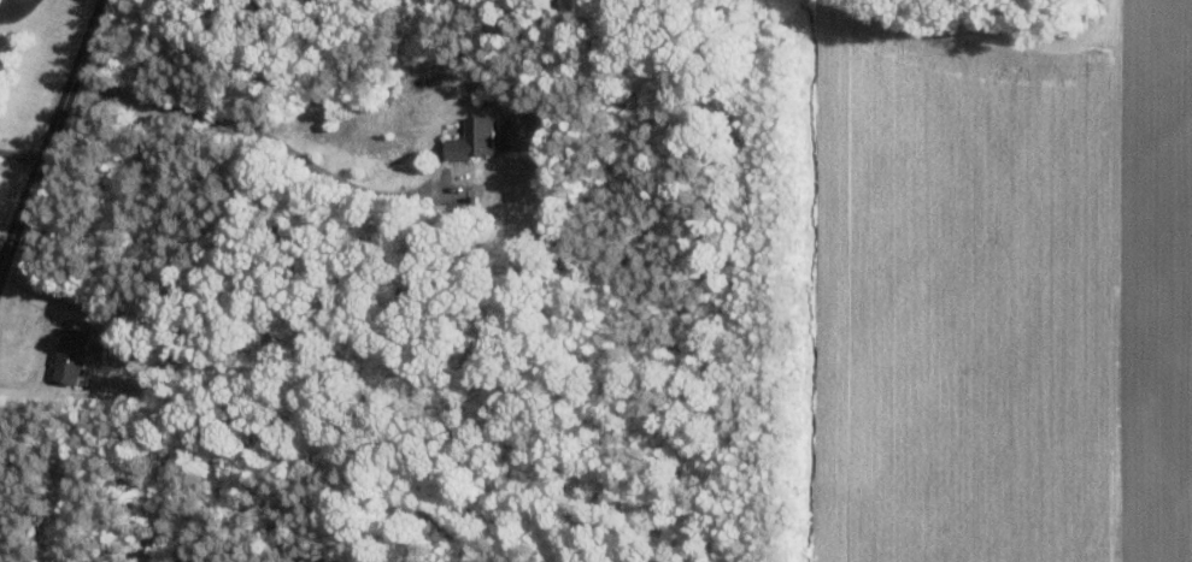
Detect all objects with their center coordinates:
road: (20, 4)
road: (251, 128)
road: (51, 134)
building: (469, 138)
road: (20, 156)
road: (53, 337)
building: (72, 356)

